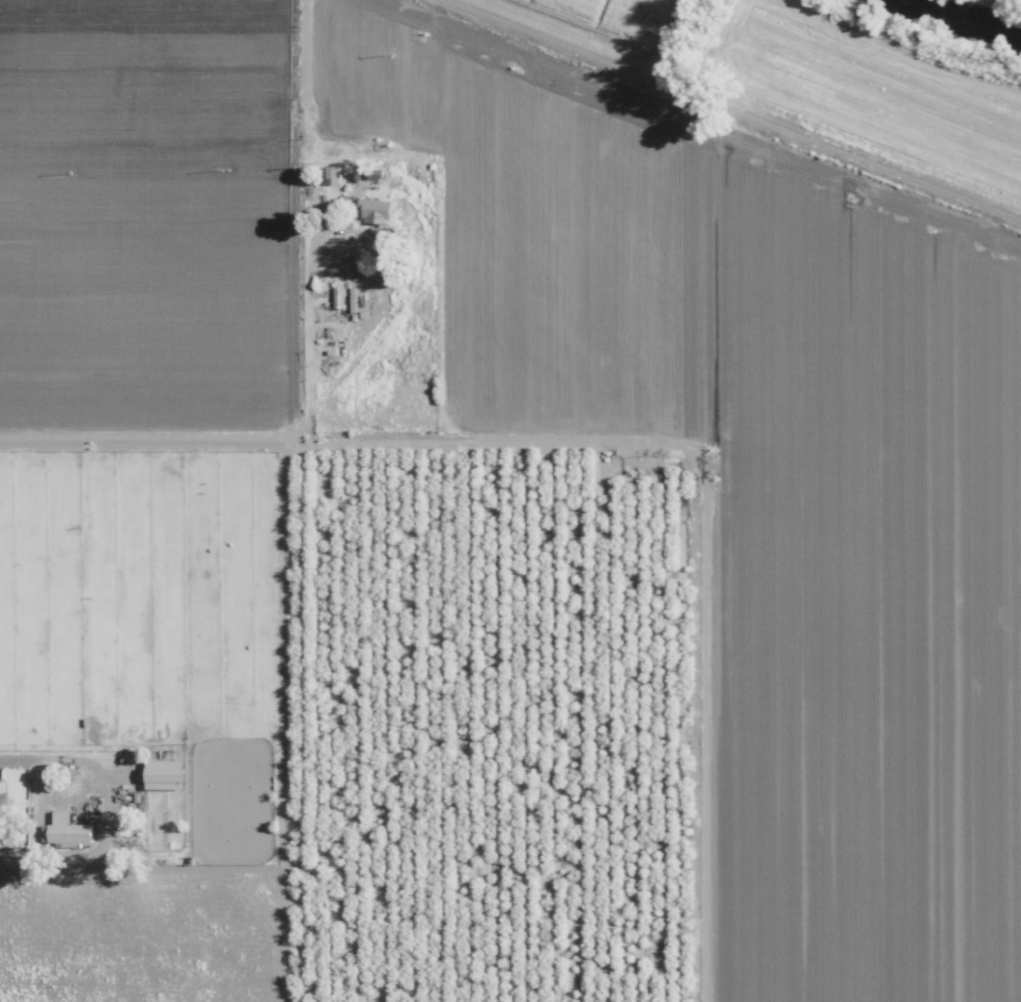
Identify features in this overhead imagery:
river: (992, 7)
road: (737, 107)
building: (333, 175)
building: (374, 210)
building: (337, 297)
crop: (583, 399)
road: (241, 437)
building: (162, 773)
road: (40, 805)
building: (1, 816)
building: (66, 828)

